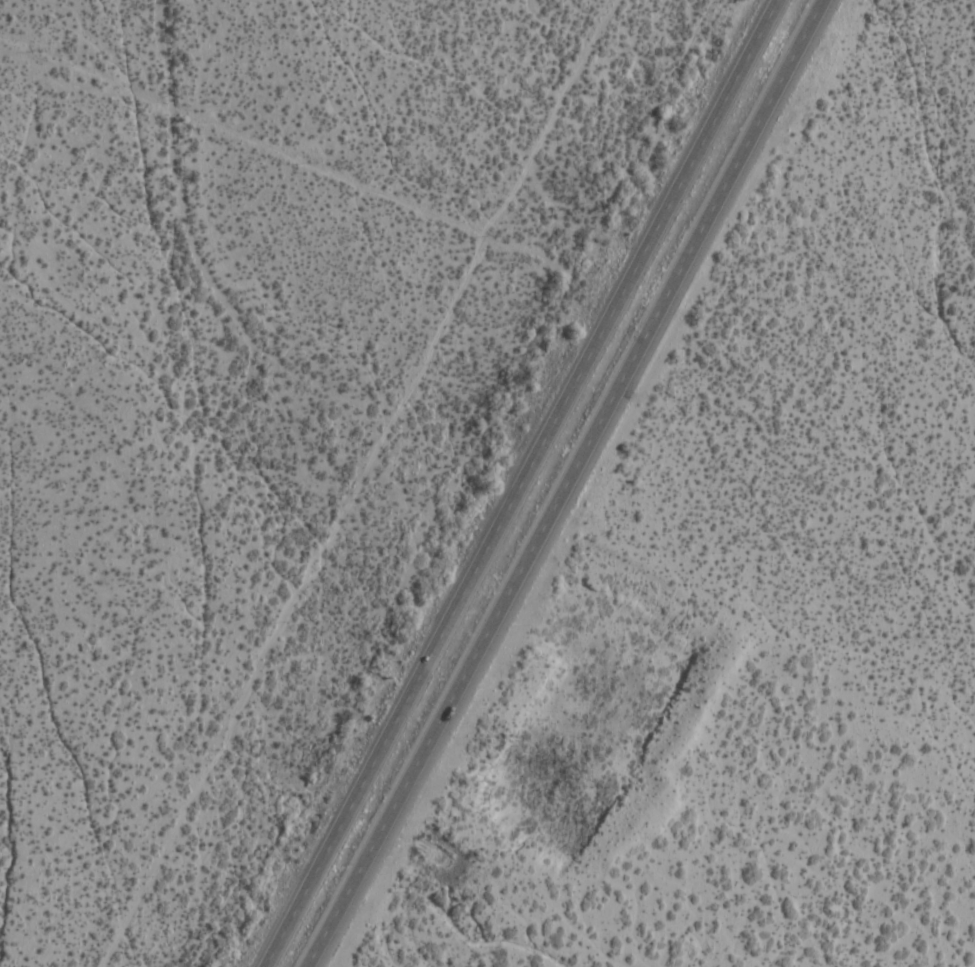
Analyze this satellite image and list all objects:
road: (234, 138)
road: (347, 483)
road: (523, 484)
road: (576, 487)

